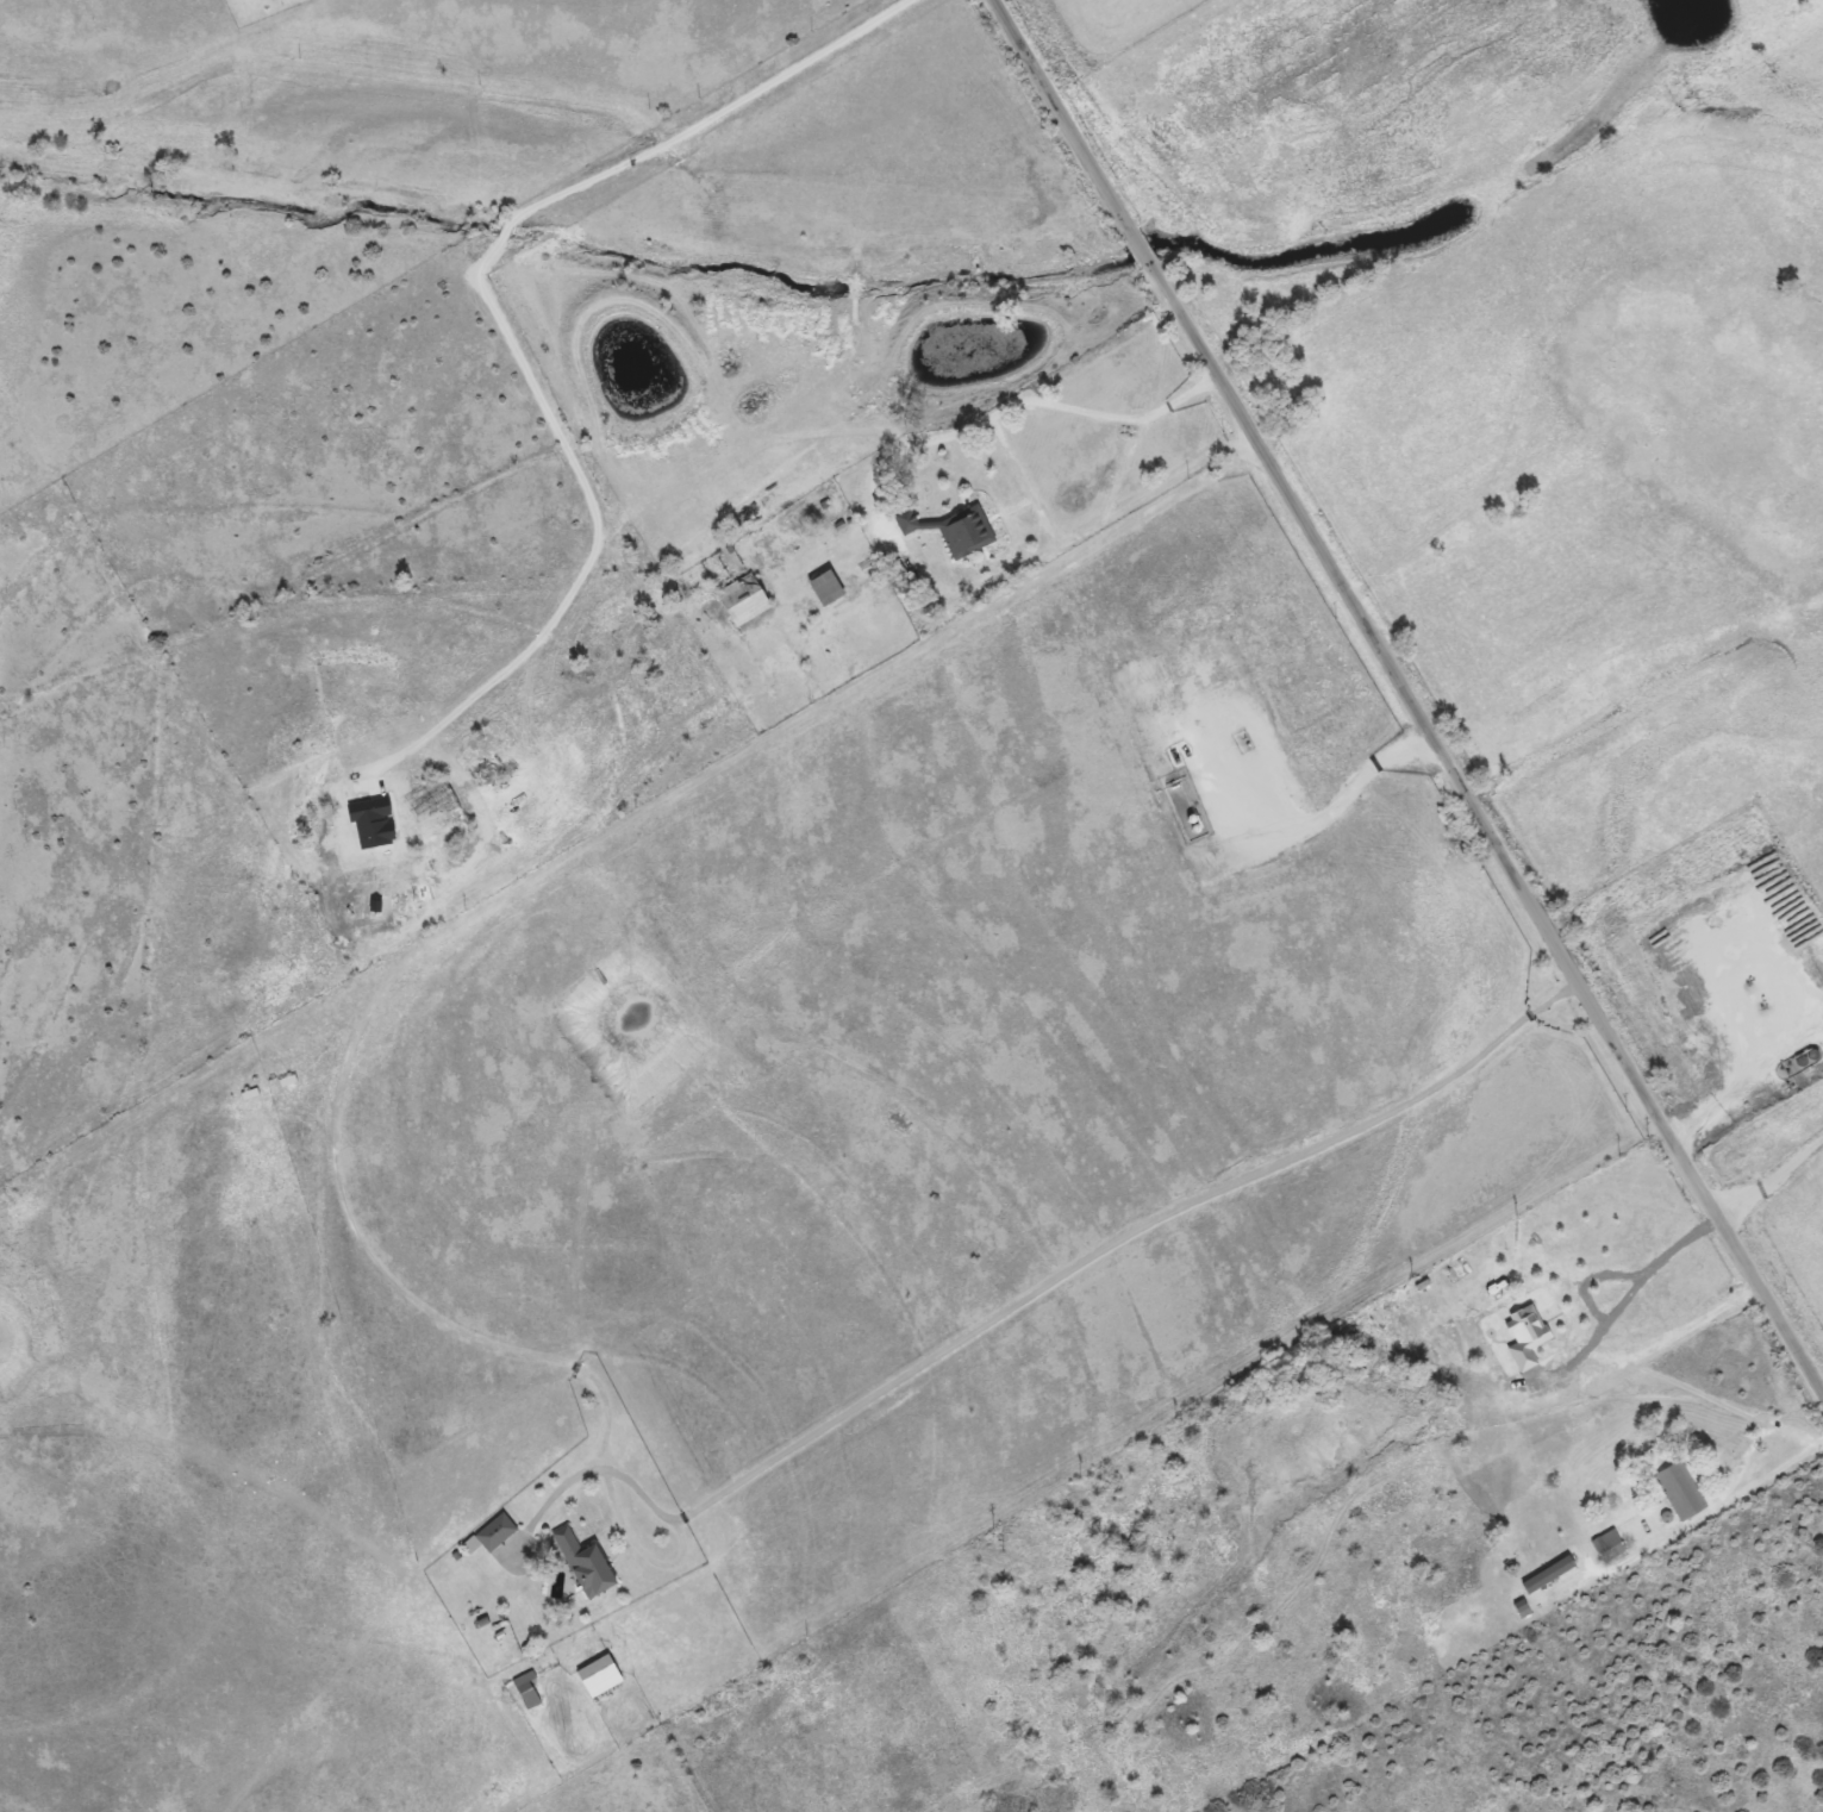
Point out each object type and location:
road: (502, 321)
building: (745, 406)
road: (962, 427)
building: (903, 520)
building: (962, 533)
road: (1065, 539)
building: (820, 588)
building: (738, 600)
road: (1411, 693)
road: (1090, 770)
building: (1182, 807)
building: (422, 812)
road: (535, 863)
road: (1631, 1293)
road: (1025, 1295)
building: (1488, 1320)
road: (1681, 1333)
building: (1479, 1389)
building: (1674, 1489)
road: (1698, 1517)
building: (486, 1533)
building: (1603, 1545)
building: (579, 1563)
building: (1542, 1573)
building: (592, 1676)
building: (522, 1691)

